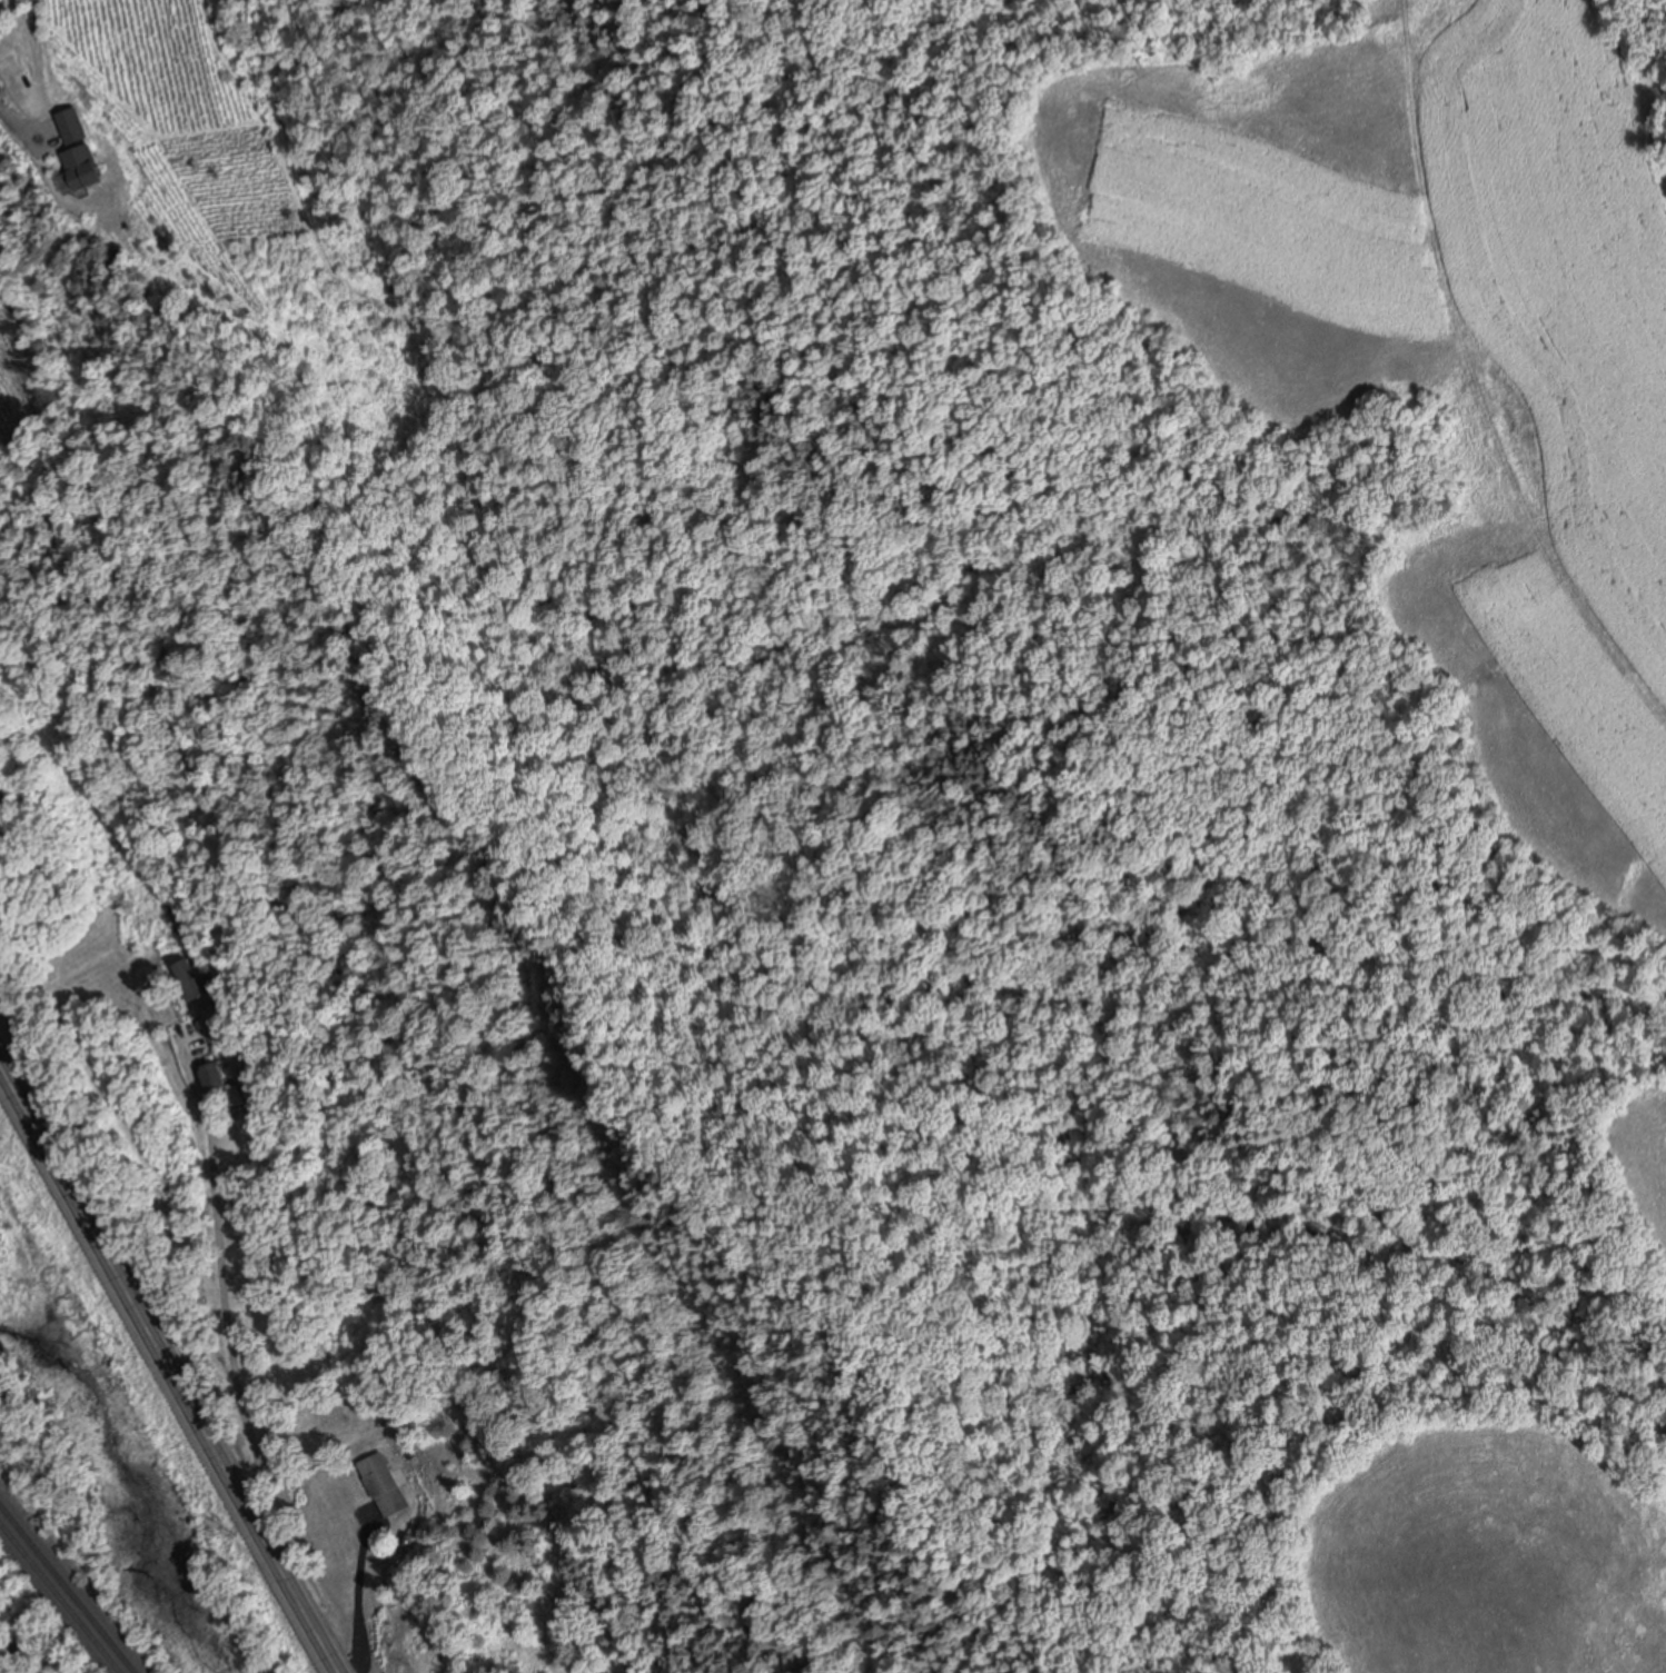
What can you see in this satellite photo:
road: (16, 127)
road: (226, 1302)
road: (168, 1370)
railway: (68, 1587)
road: (350, 1593)
railway: (61, 1596)

